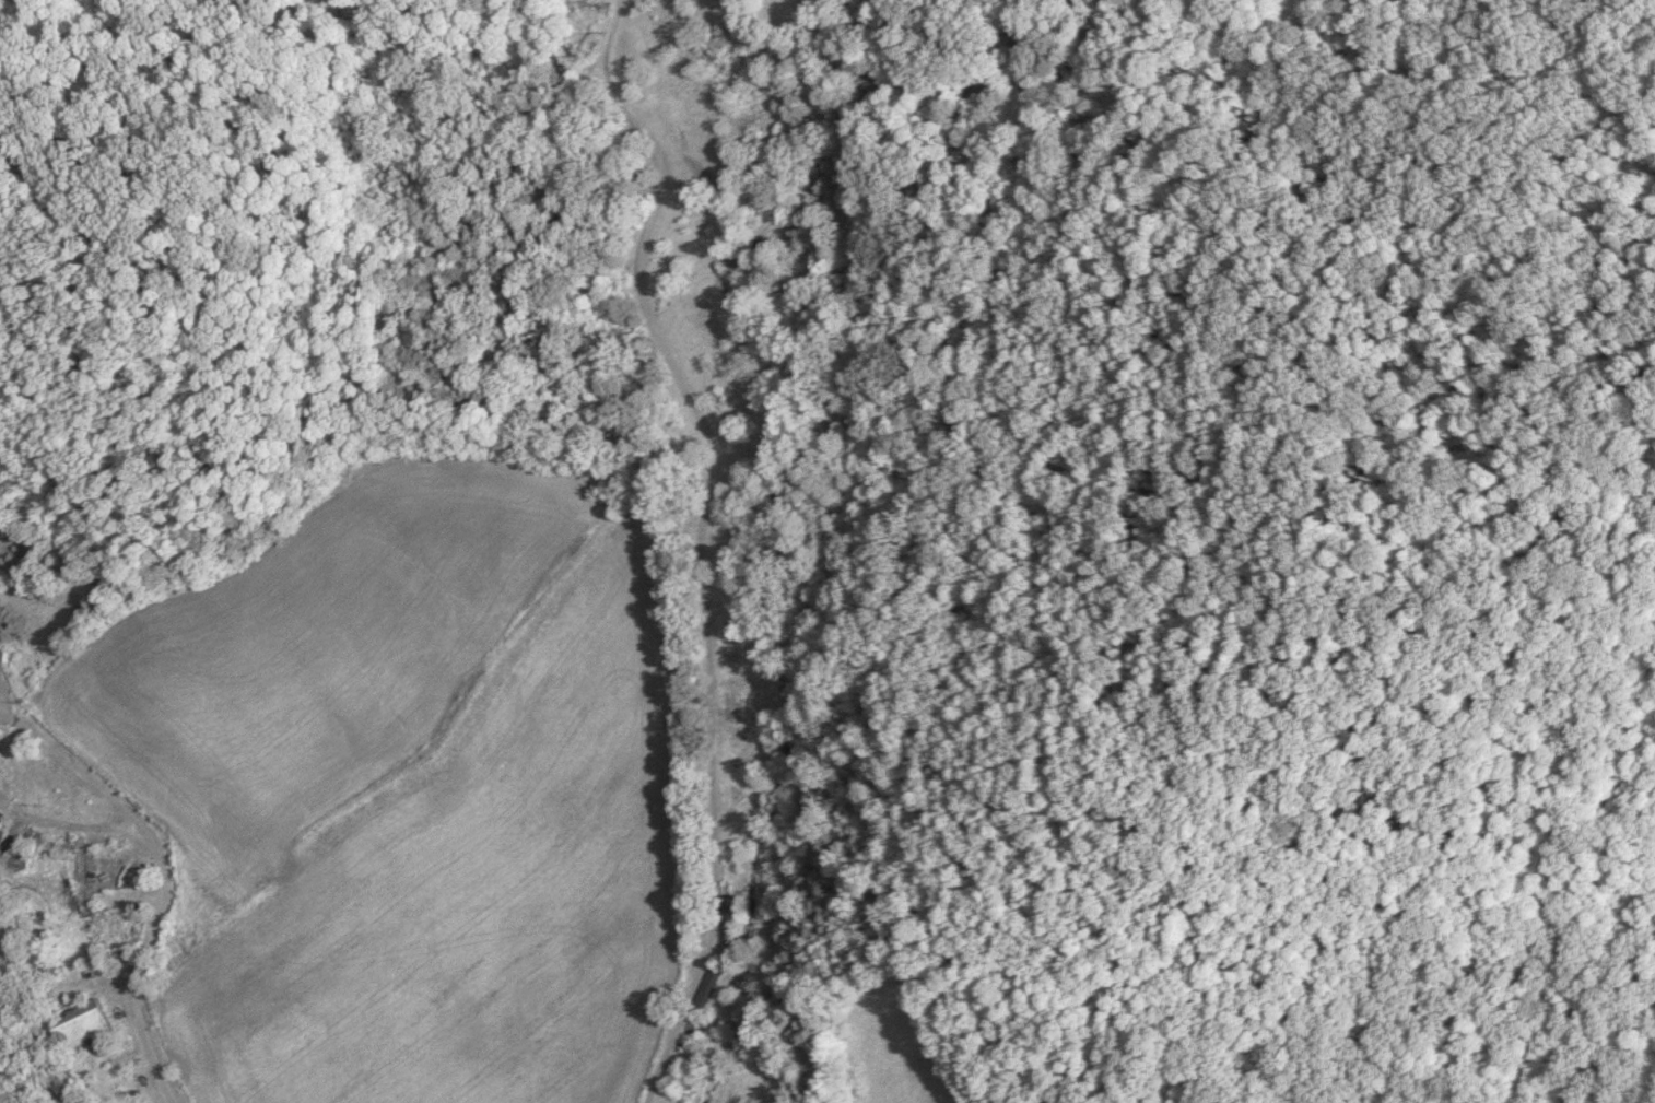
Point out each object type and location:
road: (697, 538)
building: (1, 662)
road: (60, 823)
building: (0, 833)
building: (26, 836)
road: (160, 896)
building: (728, 916)
building: (711, 983)
building: (83, 1025)

